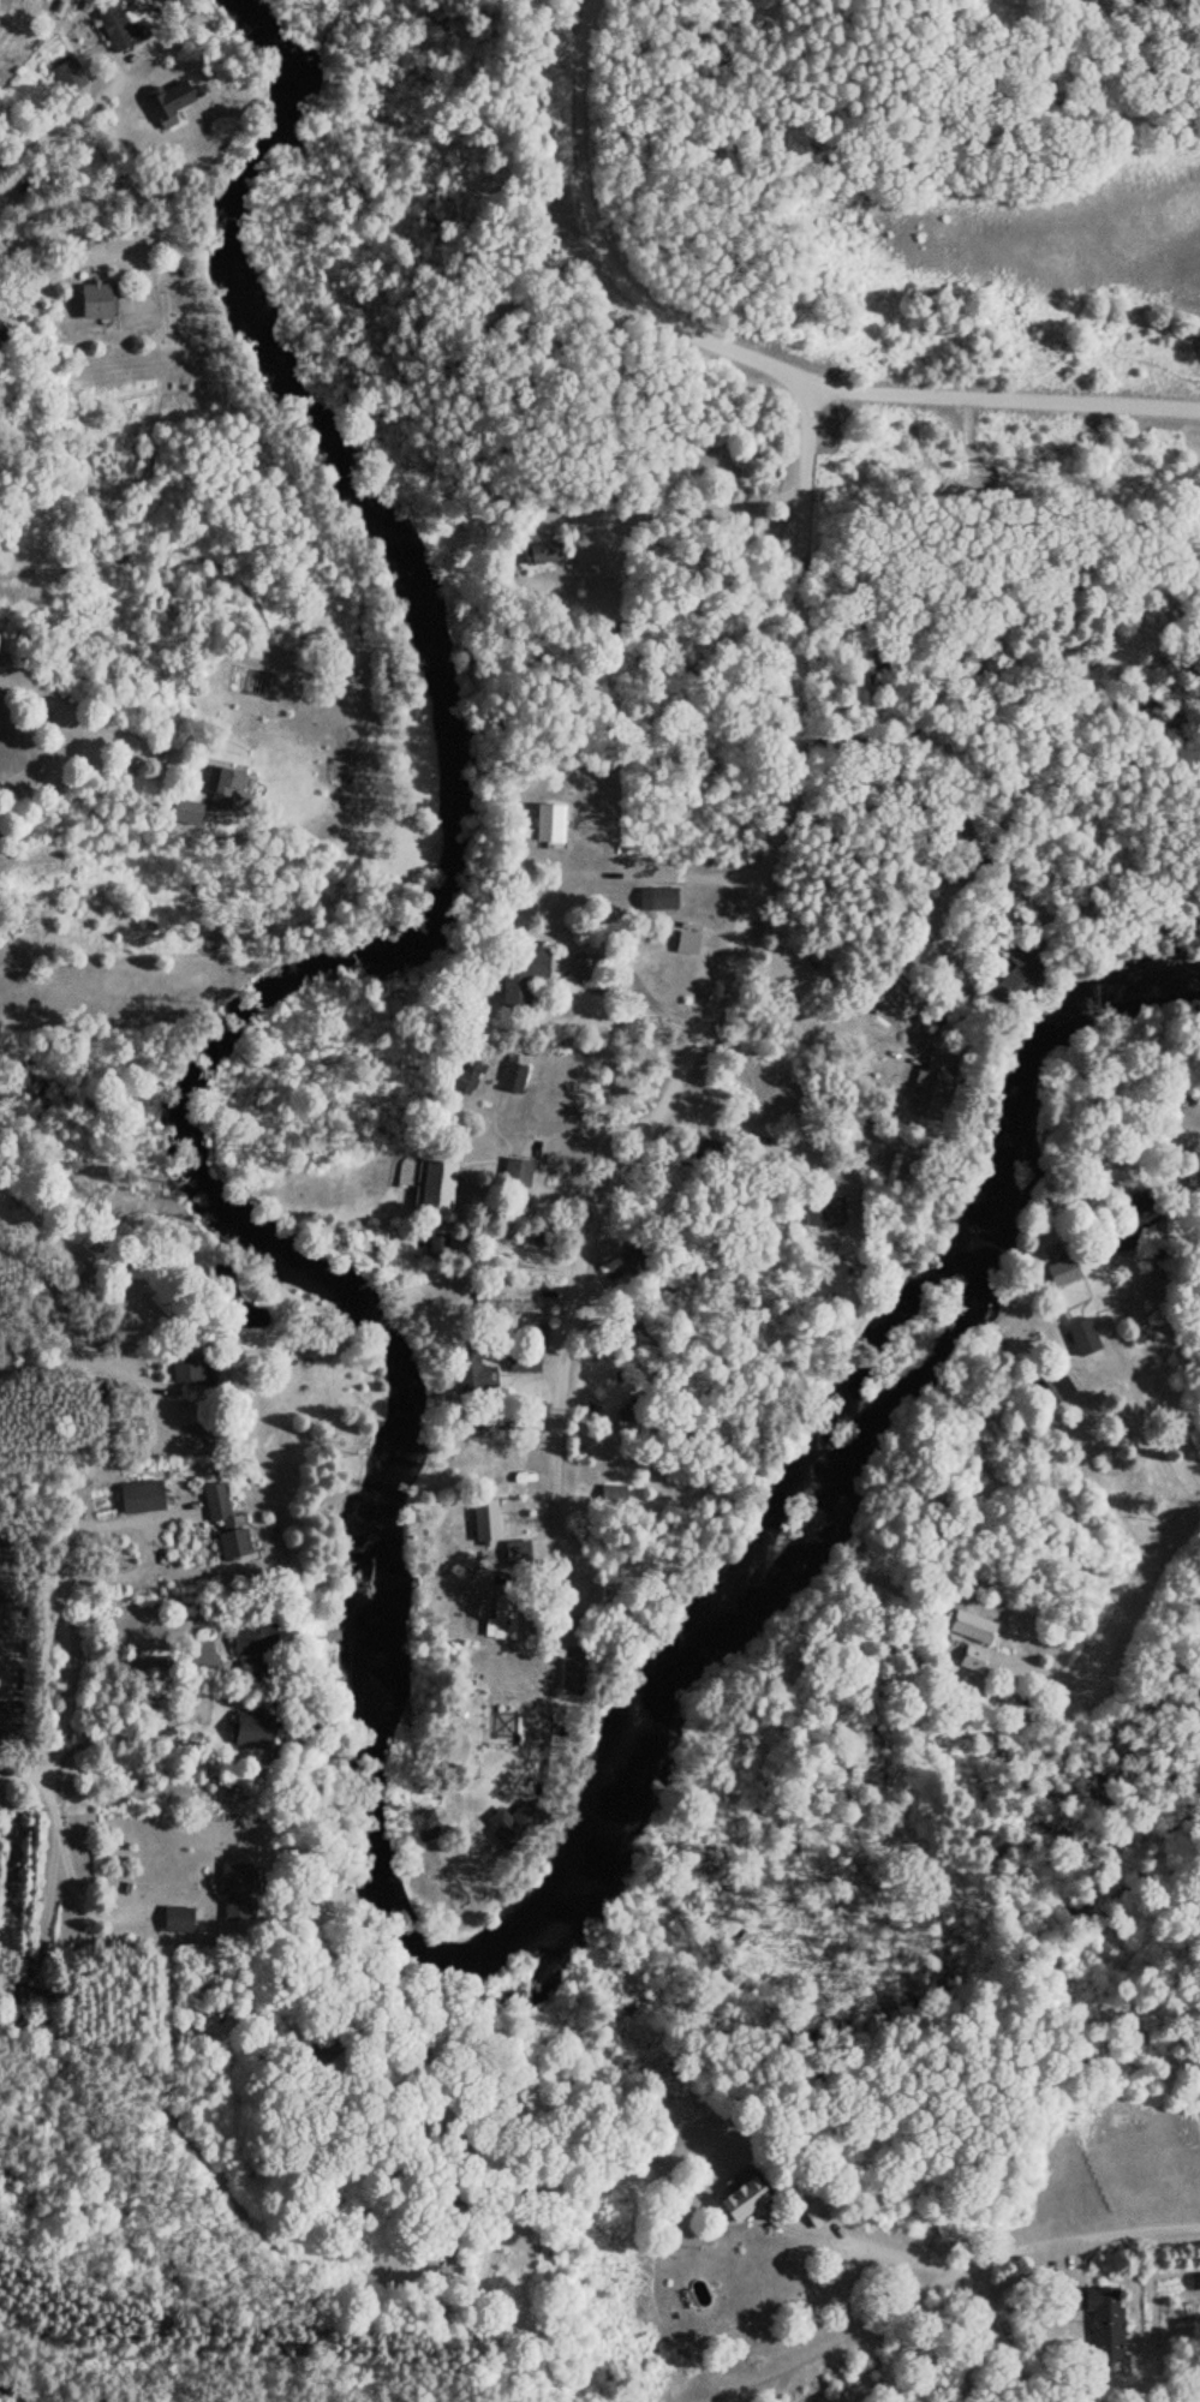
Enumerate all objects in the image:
building: (113, 26)
building: (66, 76)
building: (167, 104)
road: (62, 119)
road: (86, 257)
building: (92, 298)
road: (760, 354)
road: (676, 495)
building: (538, 550)
building: (339, 753)
building: (221, 784)
building: (658, 898)
building: (685, 937)
building: (1014, 978)
road: (714, 990)
building: (509, 1076)
building: (931, 1086)
building: (515, 1171)
building: (430, 1184)
building: (1138, 1208)
building: (432, 1244)
building: (620, 1266)
building: (1061, 1269)
building: (1085, 1344)
building: (520, 1361)
building: (186, 1367)
building: (198, 1433)
river: (384, 1457)
building: (138, 1496)
building: (223, 1526)
road: (1133, 1550)
building: (492, 1617)
building: (250, 1638)
building: (571, 1669)
building: (250, 1728)
road: (22, 1739)
road: (44, 1758)
building: (512, 1822)
building: (233, 1890)
building: (175, 1918)
building: (739, 2200)
road: (1103, 2201)
building: (817, 2210)
road: (425, 2292)
building: (1103, 2322)
road: (912, 2324)

